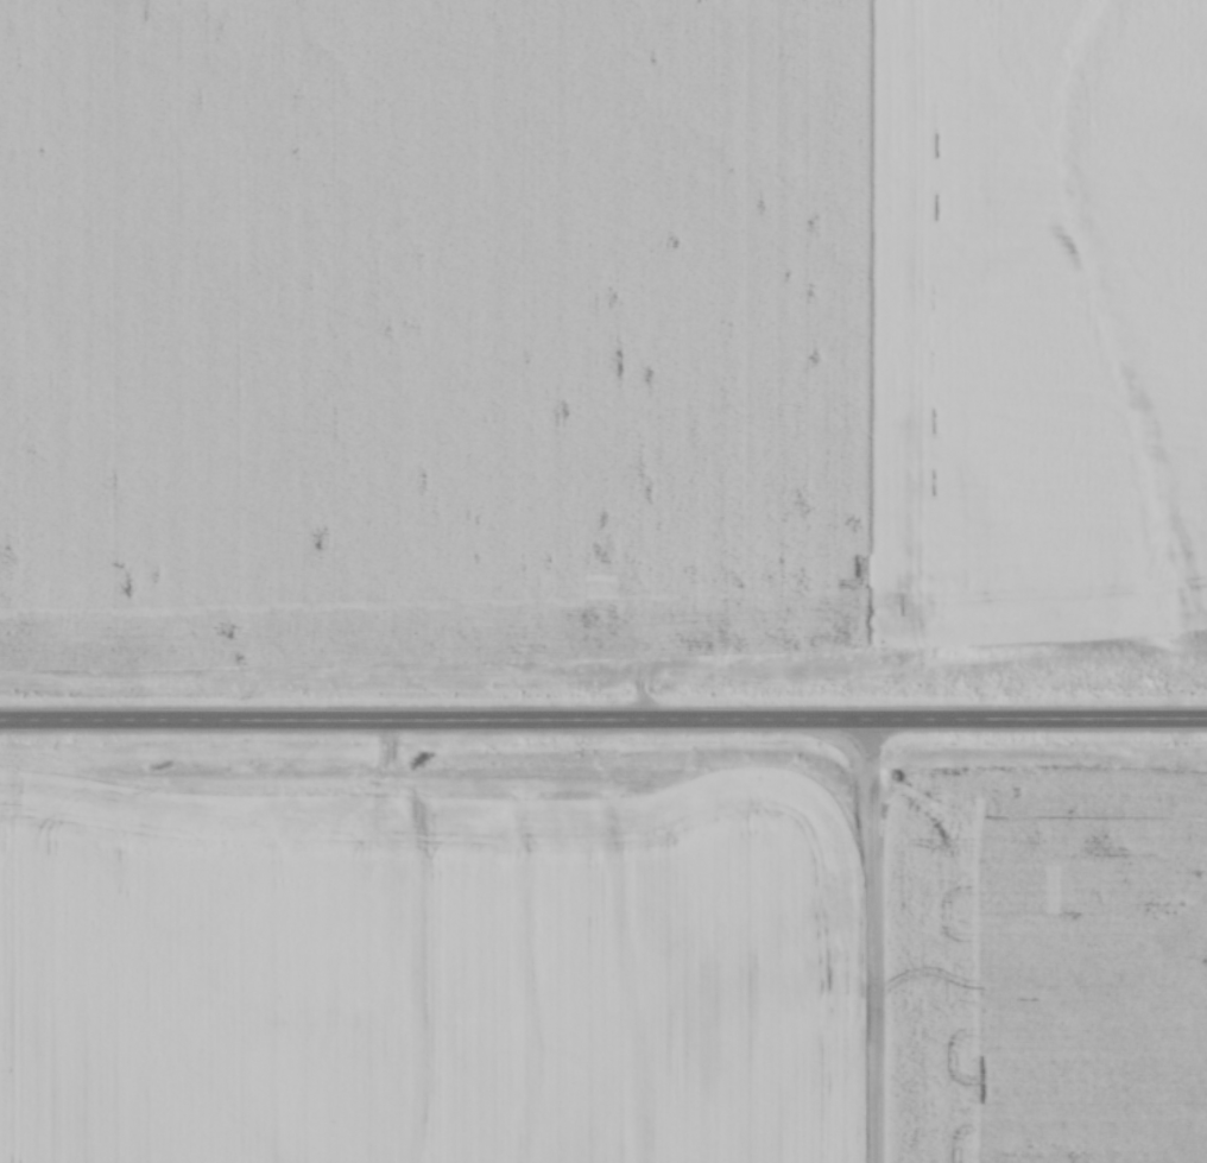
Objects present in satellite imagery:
road: (602, 703)
road: (877, 933)

